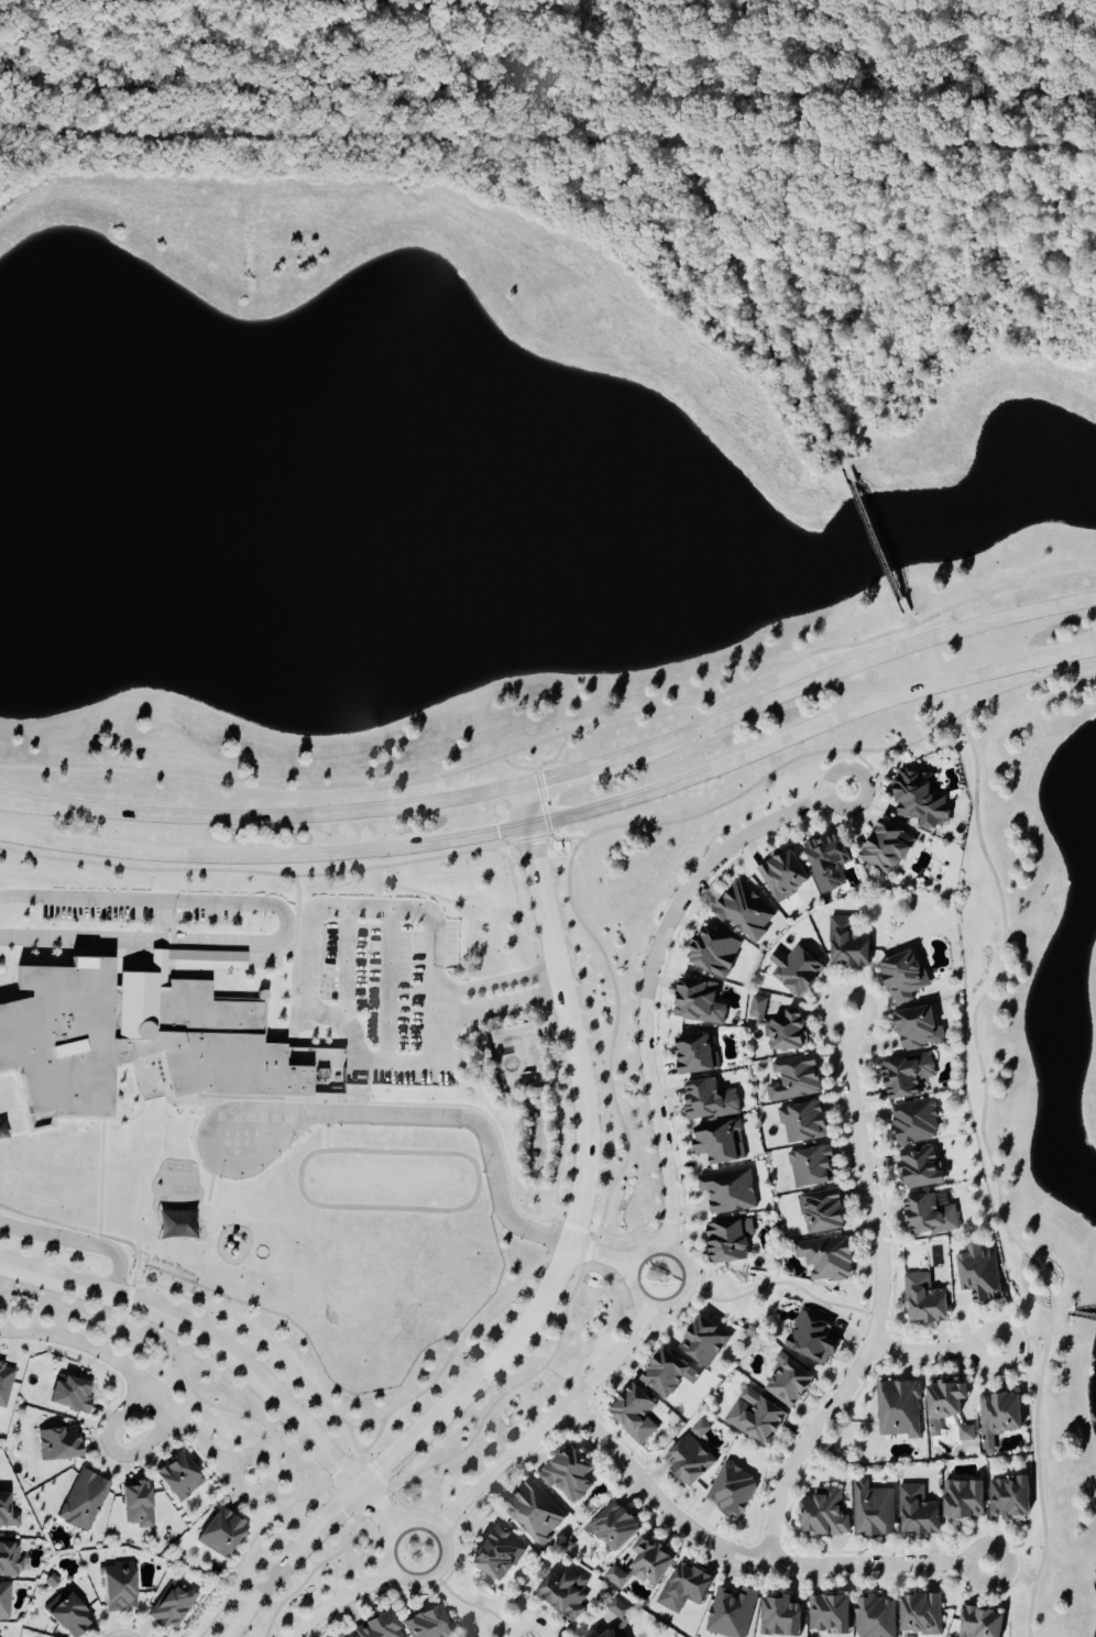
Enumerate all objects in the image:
river: (548, 84)
road: (365, 139)
road: (734, 141)
road: (875, 541)
road: (1000, 591)
road: (842, 672)
road: (836, 749)
road: (538, 765)
road: (475, 768)
road: (867, 770)
road: (558, 778)
building: (919, 799)
road: (540, 800)
road: (260, 820)
road: (559, 821)
road: (534, 837)
building: (886, 848)
building: (826, 861)
road: (243, 870)
building: (783, 876)
road: (22, 897)
parking lot: (141, 912)
building: (743, 912)
road: (317, 913)
road: (520, 918)
road: (280, 944)
building: (846, 944)
building: (714, 952)
road: (348, 970)
building: (796, 970)
road: (653, 973)
building: (902, 977)
road: (390, 988)
parking lot: (395, 992)
building: (699, 1002)
road: (501, 1009)
building: (779, 1026)
building: (919, 1029)
road: (533, 1032)
building: (134, 1034)
building: (693, 1054)
road: (522, 1055)
building: (906, 1076)
building: (793, 1079)
road: (112, 1094)
building: (709, 1100)
road: (561, 1110)
building: (913, 1121)
building: (802, 1122)
road: (478, 1127)
park: (158, 1135)
building: (717, 1142)
road: (211, 1152)
building: (811, 1167)
building: (920, 1167)
road: (996, 1175)
track: (390, 1183)
road: (136, 1187)
building: (728, 1190)
road: (603, 1209)
building: (822, 1211)
building: (929, 1217)
road: (576, 1228)
road: (634, 1229)
building: (730, 1242)
road: (81, 1244)
road: (601, 1257)
building: (825, 1259)
road: (561, 1270)
park: (391, 1272)
building: (980, 1274)
road: (638, 1299)
road: (883, 1300)
building: (924, 1300)
road: (1062, 1311)
road: (1084, 1316)
road: (239, 1317)
road: (122, 1320)
road: (206, 1336)
building: (811, 1337)
road: (1021, 1339)
building: (703, 1341)
road: (935, 1351)
road: (178, 1366)
building: (667, 1374)
road: (140, 1380)
road: (563, 1380)
building: (789, 1382)
building: (4, 1385)
building: (70, 1395)
building: (946, 1402)
building: (899, 1409)
building: (633, 1414)
building: (755, 1417)
building: (999, 1418)
road: (549, 1424)
building: (698, 1430)
building: (965, 1433)
building: (58, 1444)
road: (116, 1450)
road: (364, 1451)
building: (688, 1461)
building: (568, 1474)
building: (178, 1479)
road: (331, 1483)
building: (731, 1491)
road: (398, 1498)
building: (1009, 1498)
building: (83, 1502)
building: (963, 1502)
road: (257, 1504)
building: (136, 1505)
road: (341, 1505)
building: (872, 1510)
road: (380, 1512)
building: (917, 1512)
building: (7, 1514)
building: (534, 1514)
building: (824, 1514)
building: (614, 1527)
building: (221, 1535)
building: (496, 1556)
road: (752, 1556)
building: (11, 1561)
road: (239, 1561)
building: (643, 1565)
road: (316, 1568)
road: (1013, 1571)
road: (399, 1576)
building: (684, 1587)
building: (118, 1589)
building: (562, 1592)
road: (343, 1600)
building: (4, 1602)
building: (172, 1605)
building: (617, 1612)
building: (730, 1613)
building: (829, 1614)
building: (68, 1615)
building: (920, 1615)
building: (779, 1617)
building: (874, 1617)
building: (979, 1623)
building: (427, 1624)
building: (377, 1627)
building: (606, 1631)

